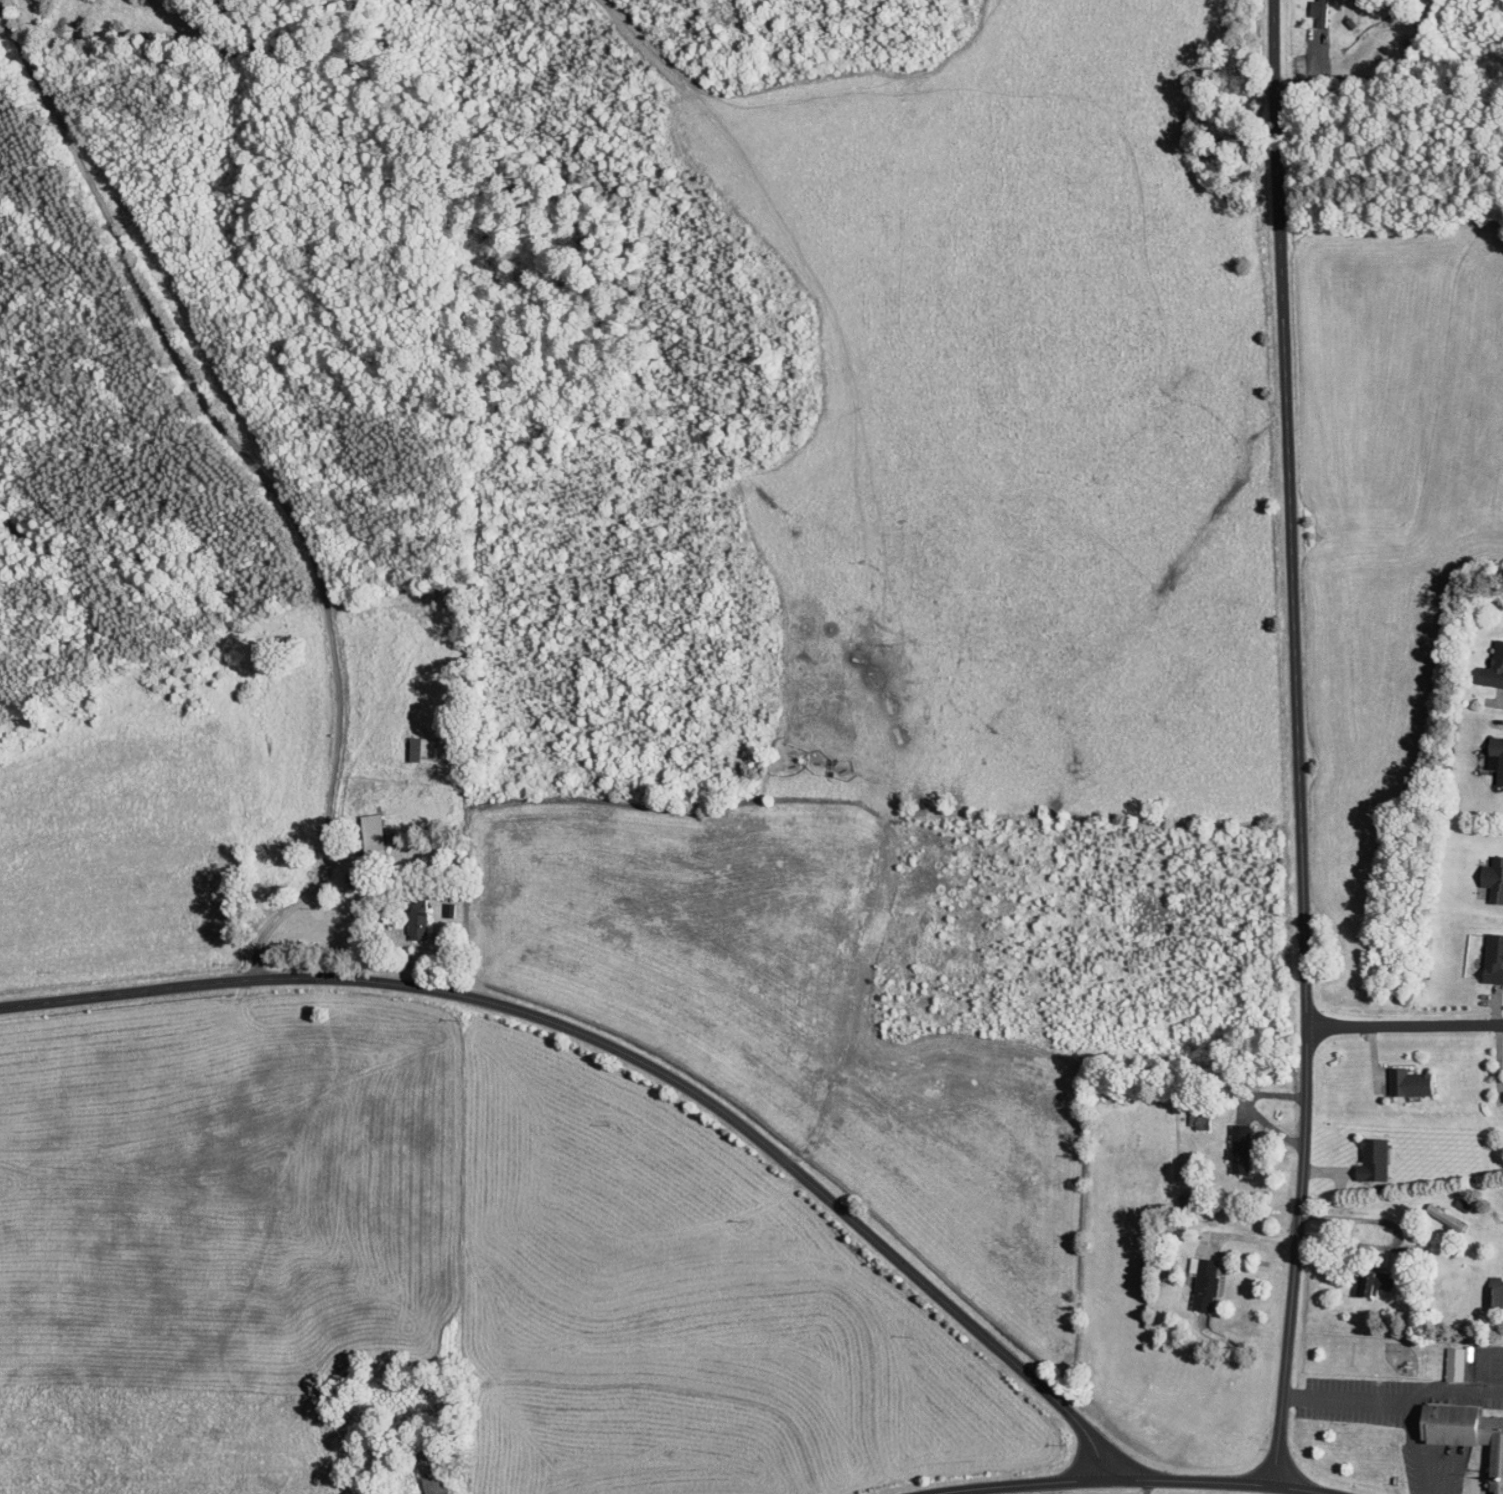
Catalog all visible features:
building: (1317, 12)
road: (1390, 83)
road: (267, 480)
building: (1491, 668)
road: (1495, 703)
road: (1299, 741)
building: (1495, 756)
building: (376, 832)
building: (1491, 881)
building: (420, 919)
building: (1491, 959)
road: (1399, 1030)
road: (639, 1069)
building: (1407, 1083)
building: (1244, 1147)
building: (1373, 1160)
building: (1442, 1216)
building: (1371, 1282)
building: (1206, 1283)
building: (1494, 1293)
building: (1454, 1361)
road: (1392, 1402)
building: (1463, 1434)
building: (435, 1472)
road: (1136, 1482)

